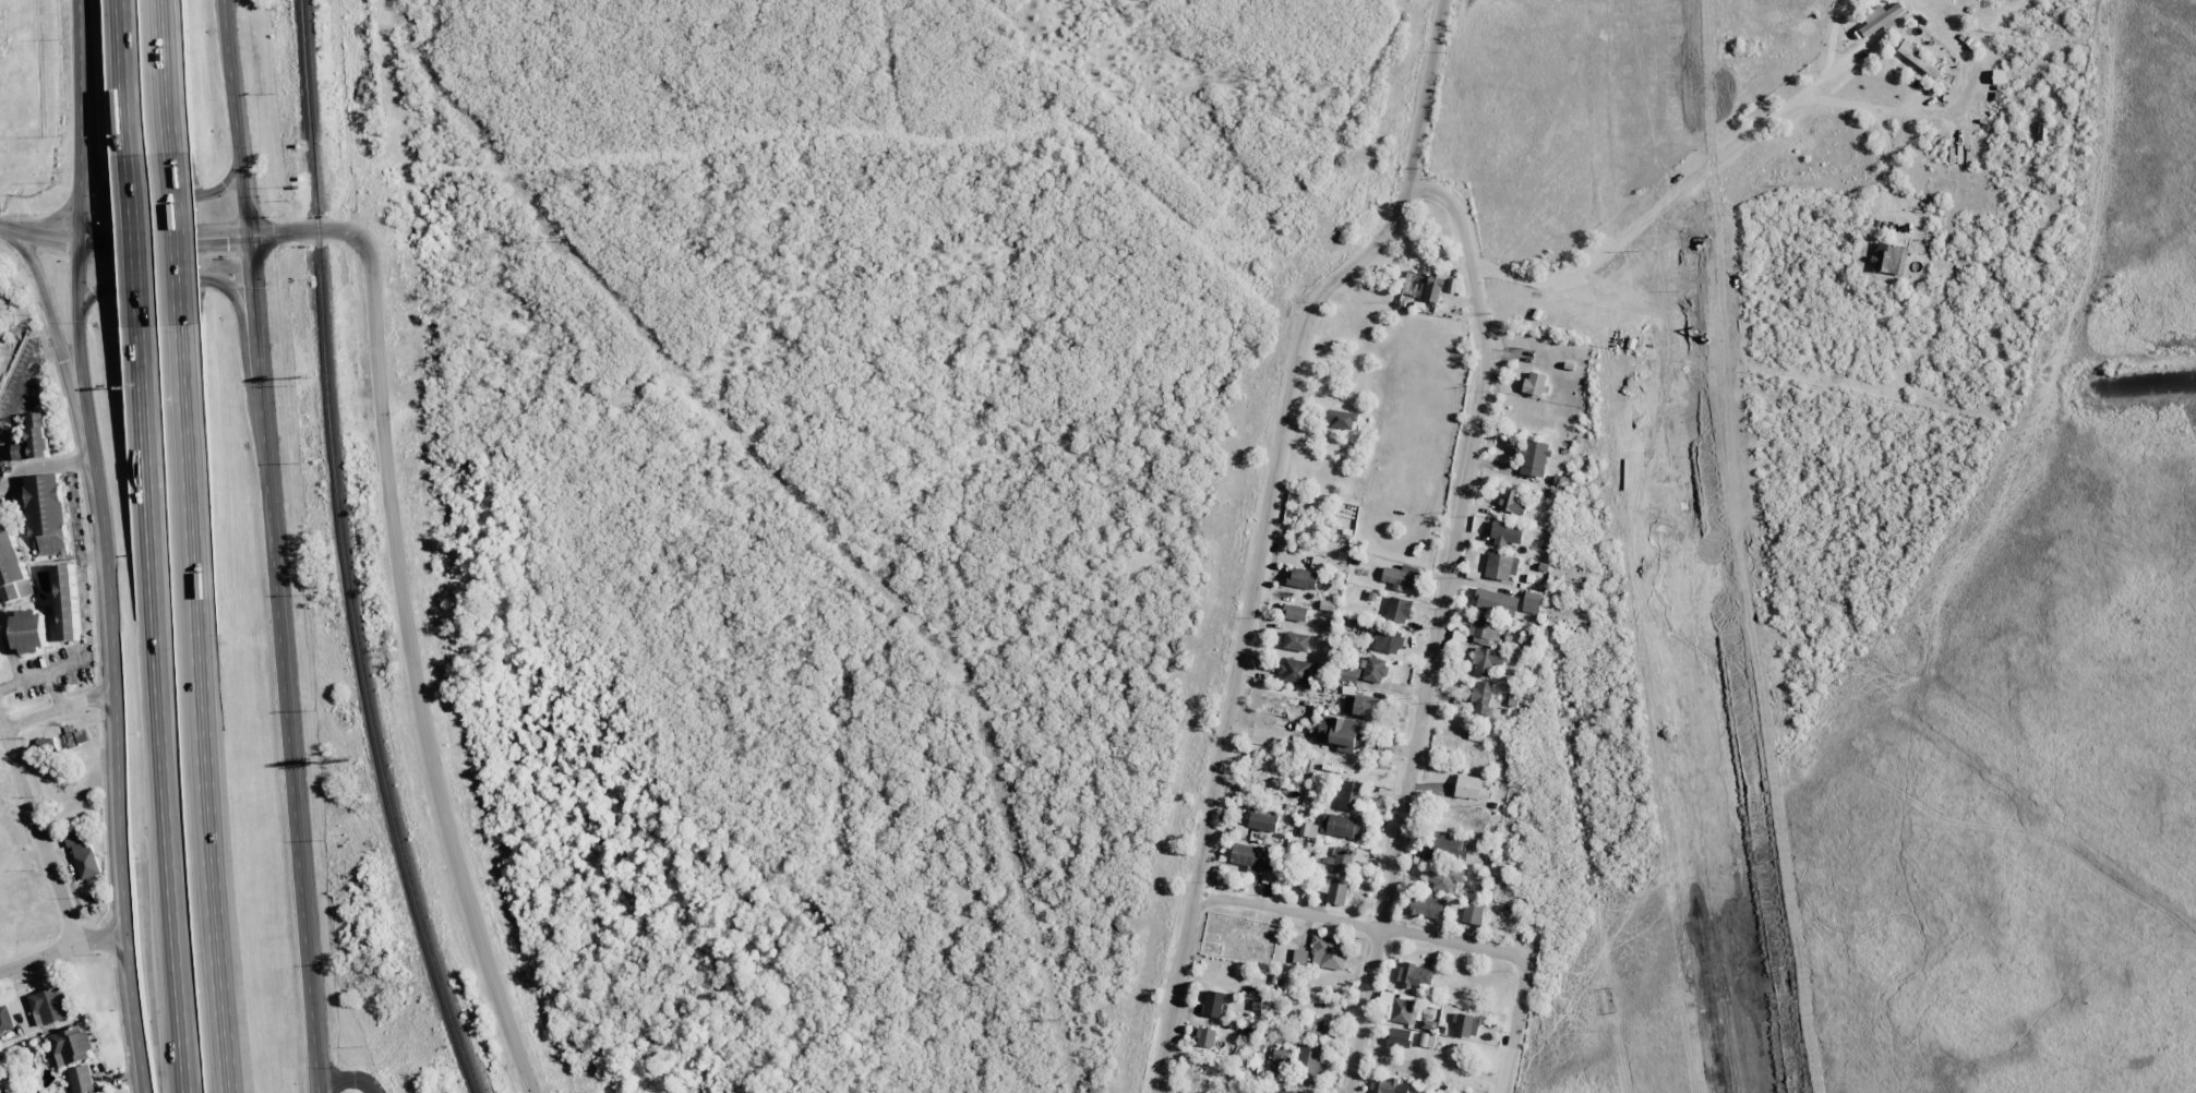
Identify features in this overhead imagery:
building: (1880, 20)
building: (1916, 57)
road: (129, 75)
road: (167, 76)
building: (1999, 76)
road: (160, 197)
road: (77, 216)
road: (38, 236)
road: (136, 237)
power tower: (559, 238)
road: (176, 239)
road: (161, 240)
building: (1889, 259)
road: (175, 280)
building: (1432, 289)
road: (51, 329)
building: (1535, 383)
building: (35, 440)
building: (1533, 459)
power tower: (772, 469)
building: (1512, 504)
building: (47, 515)
road: (1268, 529)
building: (1505, 533)
road: (271, 546)
railway: (345, 553)
building: (1318, 563)
building: (11, 566)
building: (1501, 566)
building: (1400, 576)
building: (1303, 578)
road: (155, 594)
building: (1496, 602)
building: (1532, 602)
building: (68, 603)
building: (1399, 610)
building: (1295, 613)
road: (404, 617)
road: (1435, 623)
building: (29, 630)
building: (1486, 630)
building: (1388, 640)
building: (1296, 641)
building: (1486, 660)
building: (1375, 670)
building: (1298, 672)
building: (1348, 674)
power tower: (977, 684)
building: (1481, 697)
road: (56, 706)
building: (1359, 707)
road: (202, 709)
building: (1341, 733)
building: (77, 737)
building: (46, 745)
road: (117, 761)
building: (1471, 788)
building: (1351, 796)
building: (1262, 821)
building: (1340, 826)
road: (38, 827)
building: (1308, 830)
building: (1448, 848)
building: (7, 852)
building: (83, 854)
building: (1248, 855)
building: (1347, 858)
building: (1444, 878)
building: (1336, 891)
building: (1430, 906)
building: (1472, 914)
road: (1360, 927)
road: (61, 946)
building: (1329, 953)
building: (1299, 956)
building: (1415, 974)
road: (177, 980)
building: (1213, 1004)
building: (50, 1006)
building: (1405, 1011)
building: (5, 1019)
power tower: (1063, 1020)
building: (1465, 1025)
building: (1316, 1026)
road: (1511, 1028)
building: (1205, 1037)
building: (1399, 1037)
building: (70, 1045)
building: (1281, 1055)
building: (1308, 1064)
road: (348, 1078)
building: (82, 1080)
building: (1388, 1086)
building: (1291, 1091)

